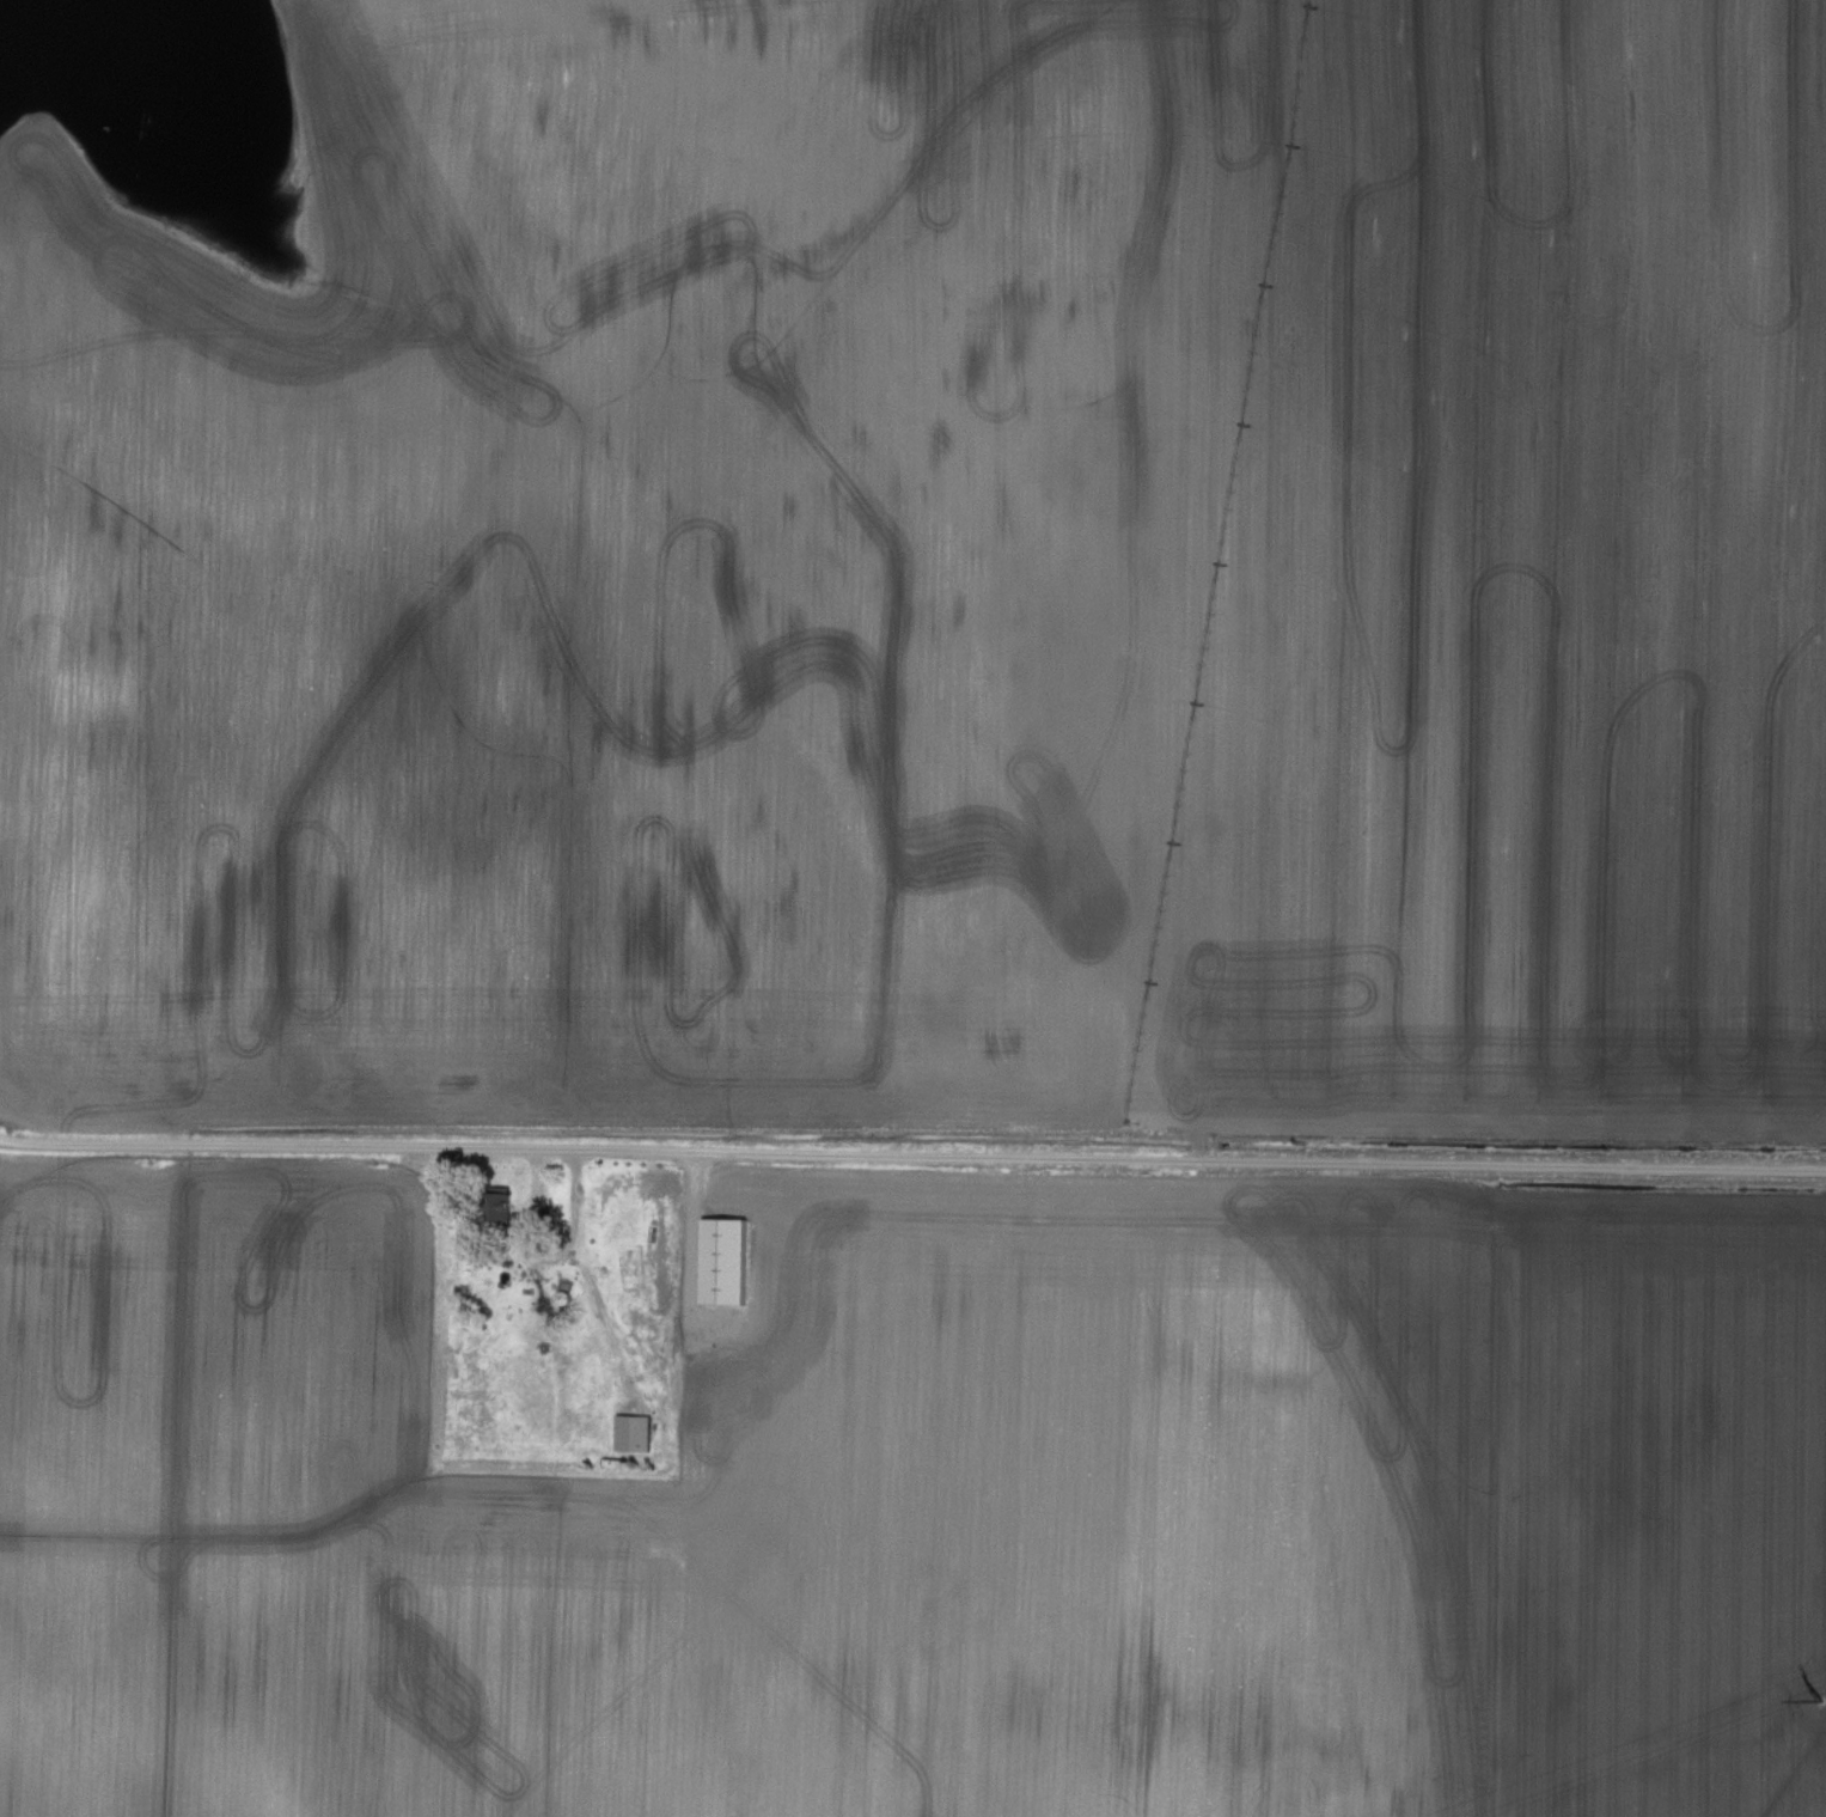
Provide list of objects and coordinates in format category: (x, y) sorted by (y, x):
road: (912, 1163)
road: (688, 1185)
building: (722, 1261)
building: (631, 1432)

